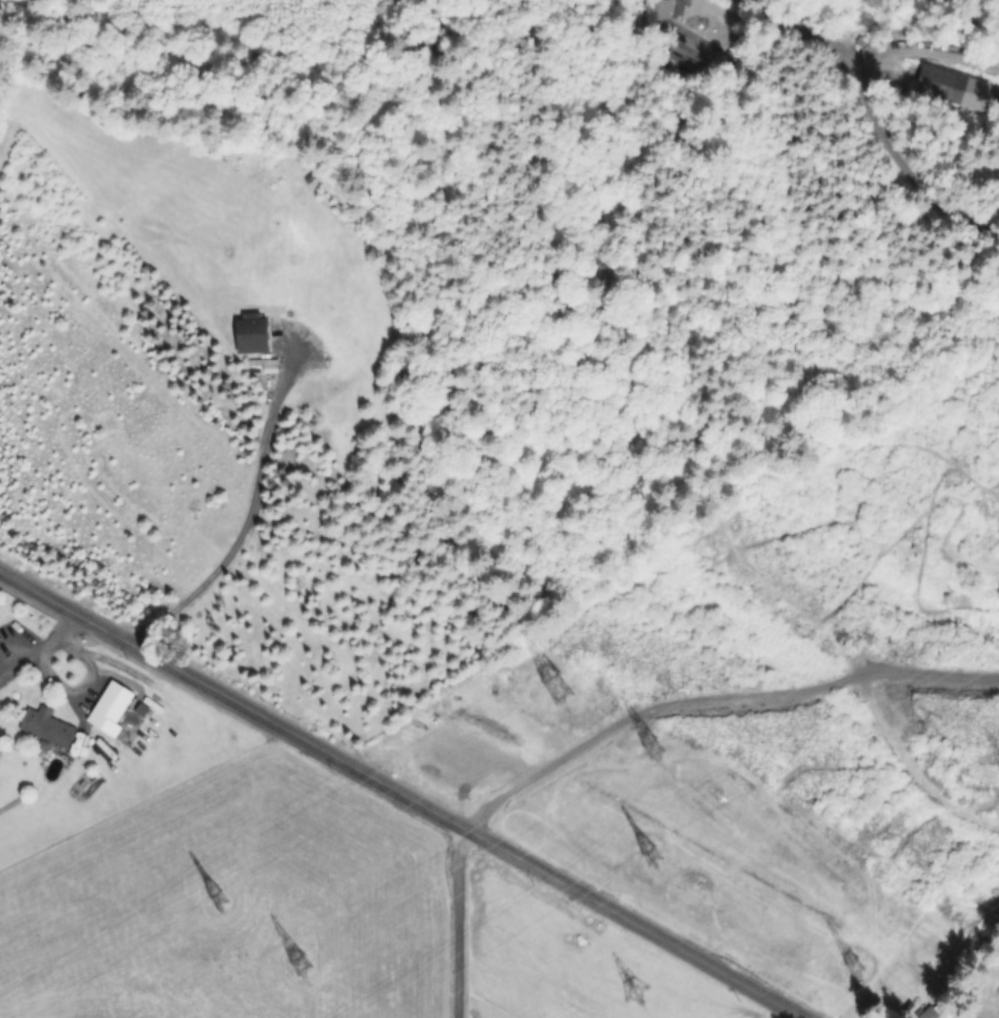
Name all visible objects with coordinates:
road: (876, 126)
building: (254, 332)
building: (265, 363)
road: (241, 531)
road: (40, 647)
power tower: (546, 681)
road: (717, 698)
building: (114, 702)
building: (49, 728)
power tower: (647, 751)
power tower: (994, 766)
road: (404, 792)
power tower: (638, 845)
power tower: (207, 899)
road: (459, 921)
power tower: (295, 963)
power tower: (845, 963)
power tower: (633, 987)
building: (998, 991)
building: (930, 1013)
road: (799, 1016)

